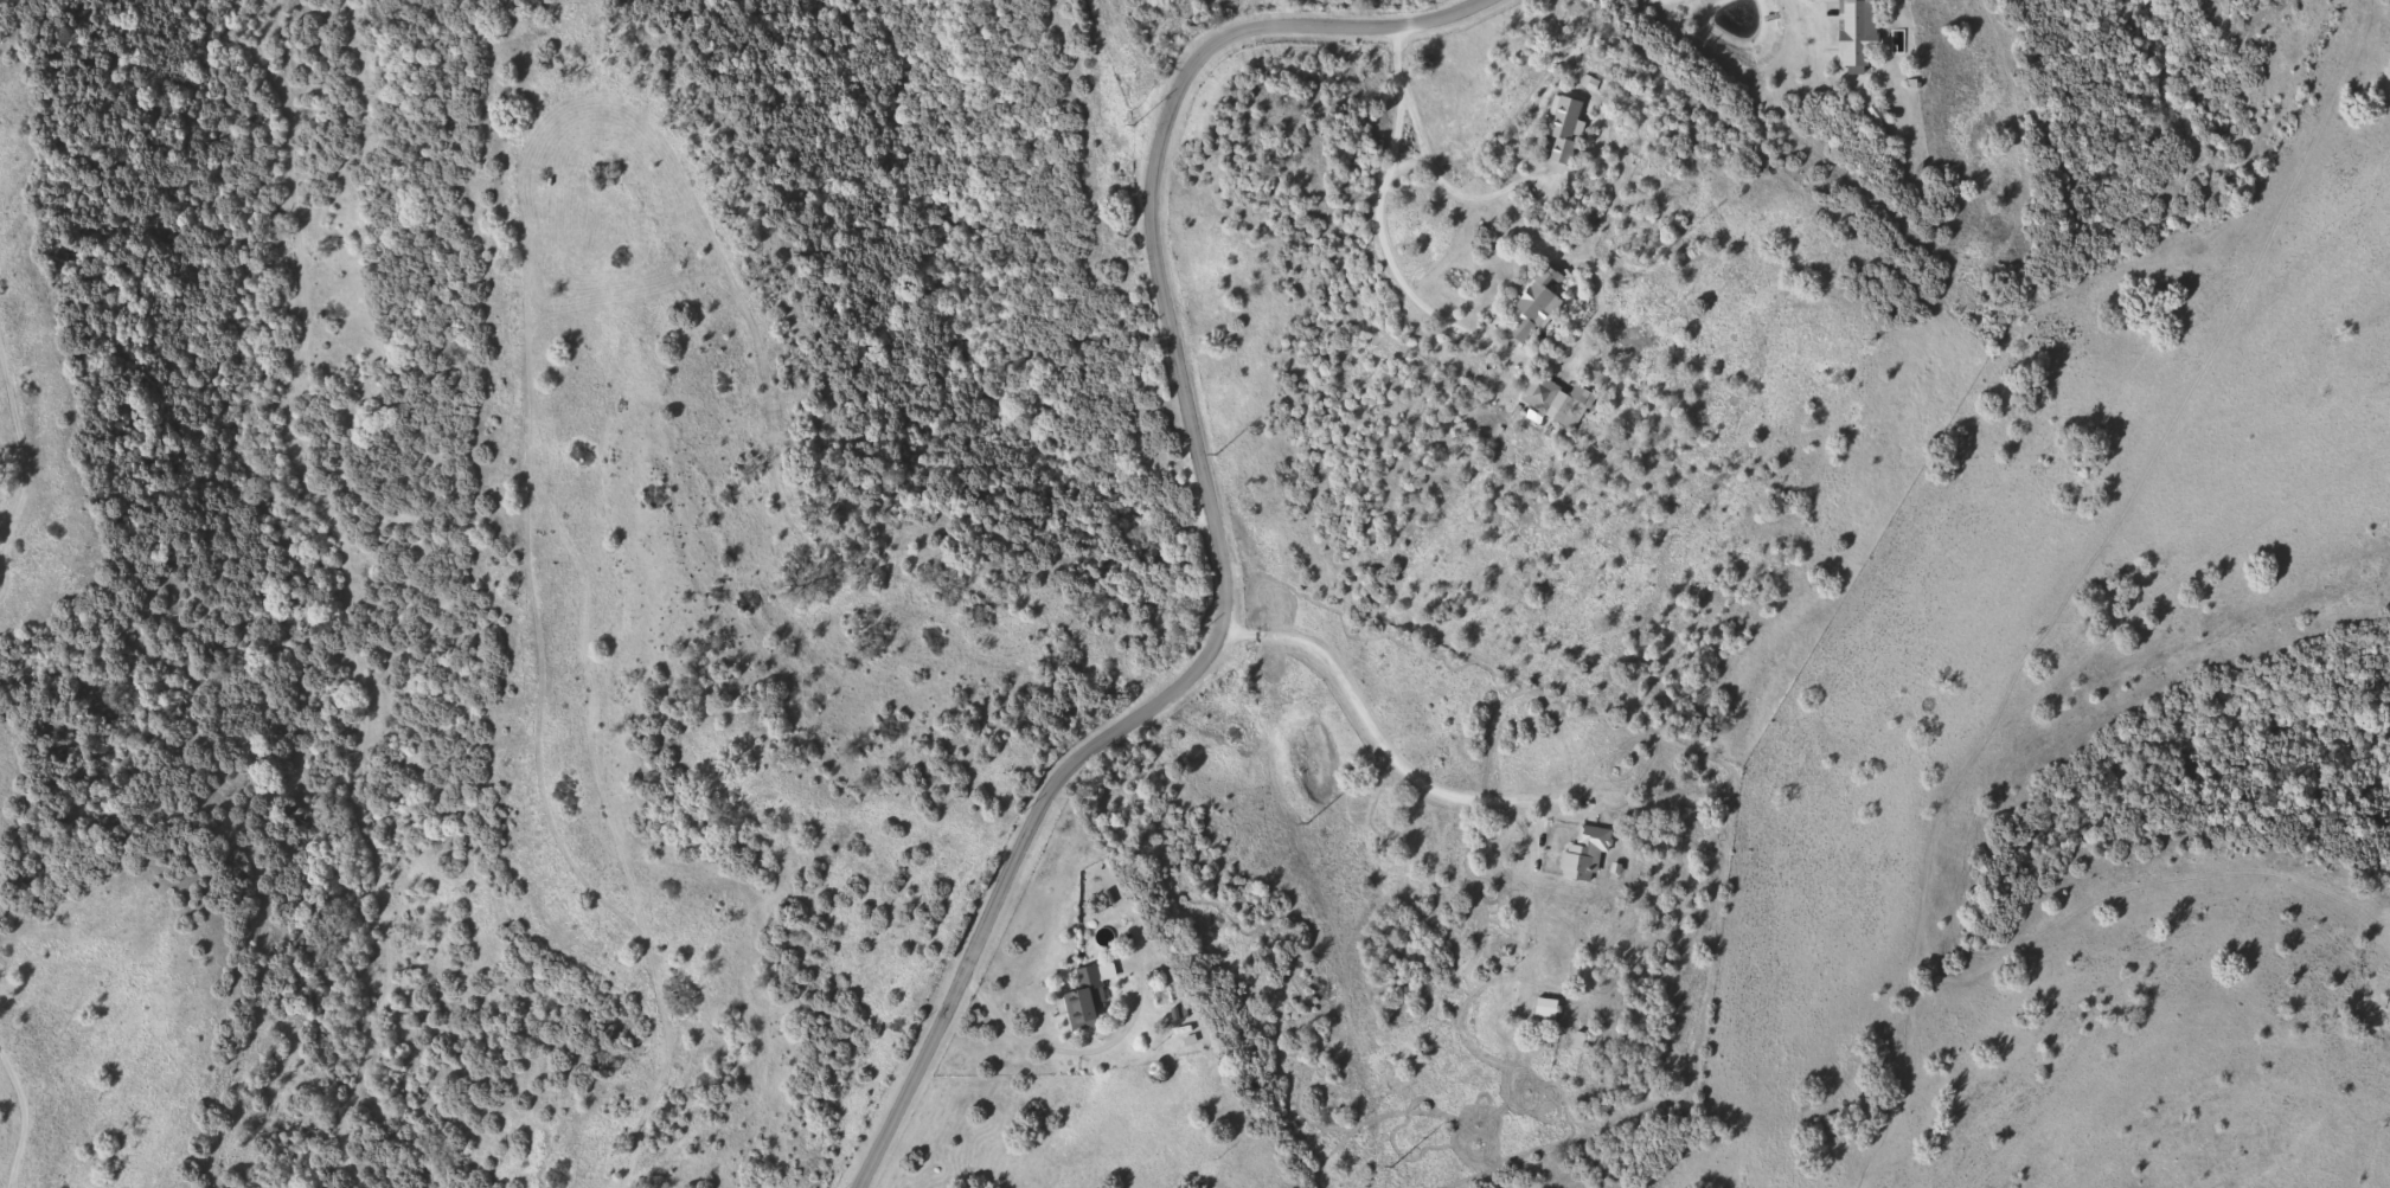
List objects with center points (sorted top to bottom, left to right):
building: (1859, 34)
building: (1565, 126)
road: (1448, 184)
road: (1380, 224)
building: (1536, 307)
building: (1552, 402)
road: (1212, 526)
road: (1389, 743)
building: (1585, 853)
building: (1089, 996)
building: (1548, 1013)

